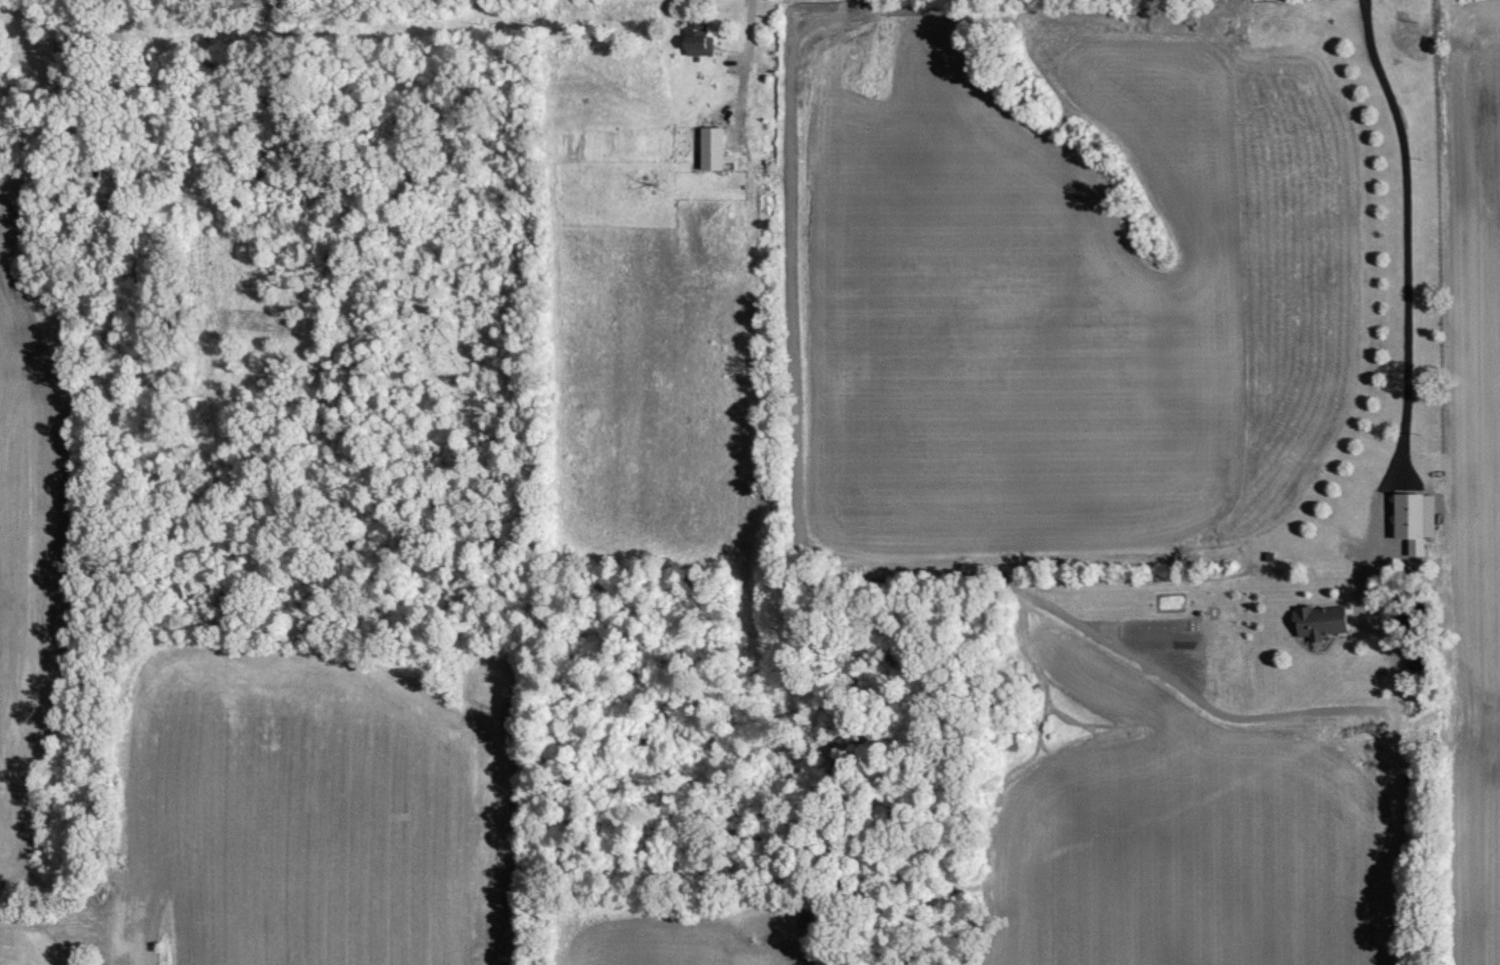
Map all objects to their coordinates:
building: (693, 37)
road: (746, 72)
building: (1, 75)
building: (712, 145)
road: (1407, 296)
building: (1407, 514)
building: (1319, 619)

